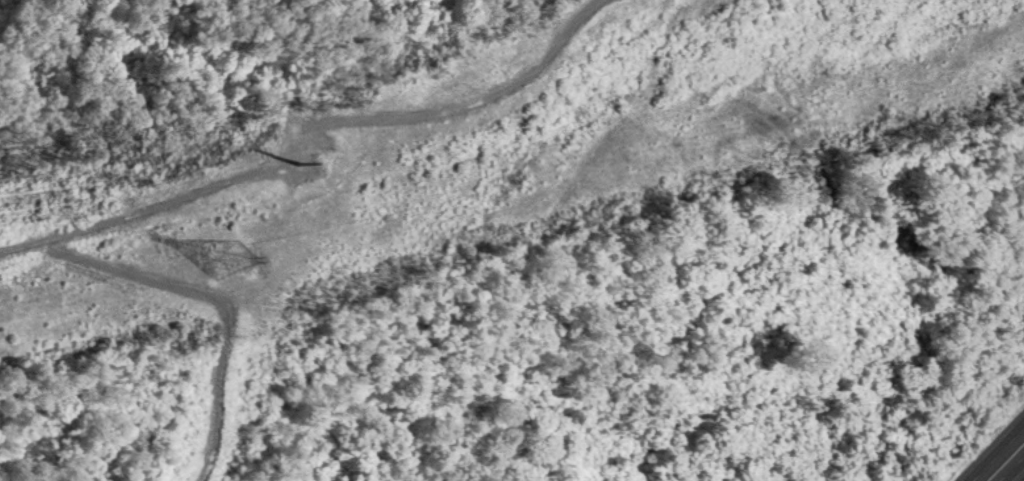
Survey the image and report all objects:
power tower: (331, 158)
power tower: (233, 261)
road: (997, 453)
road: (1009, 465)

